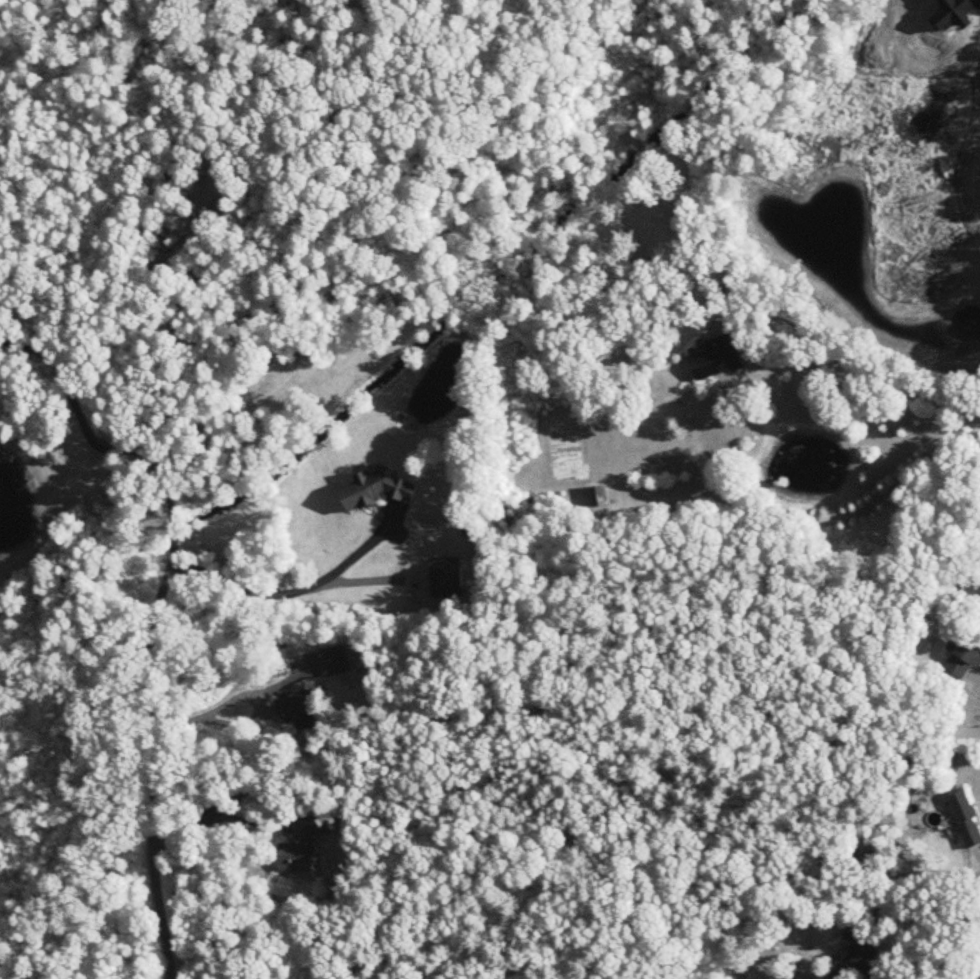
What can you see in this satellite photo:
road: (968, 187)
building: (735, 281)
road: (25, 344)
building: (718, 358)
road: (849, 392)
road: (965, 432)
building: (377, 490)
building: (600, 496)
road: (290, 592)
building: (970, 597)
road: (155, 632)
building: (961, 658)
building: (299, 712)
road: (245, 723)
road: (261, 788)
building: (966, 819)
building: (302, 847)
building: (860, 957)

